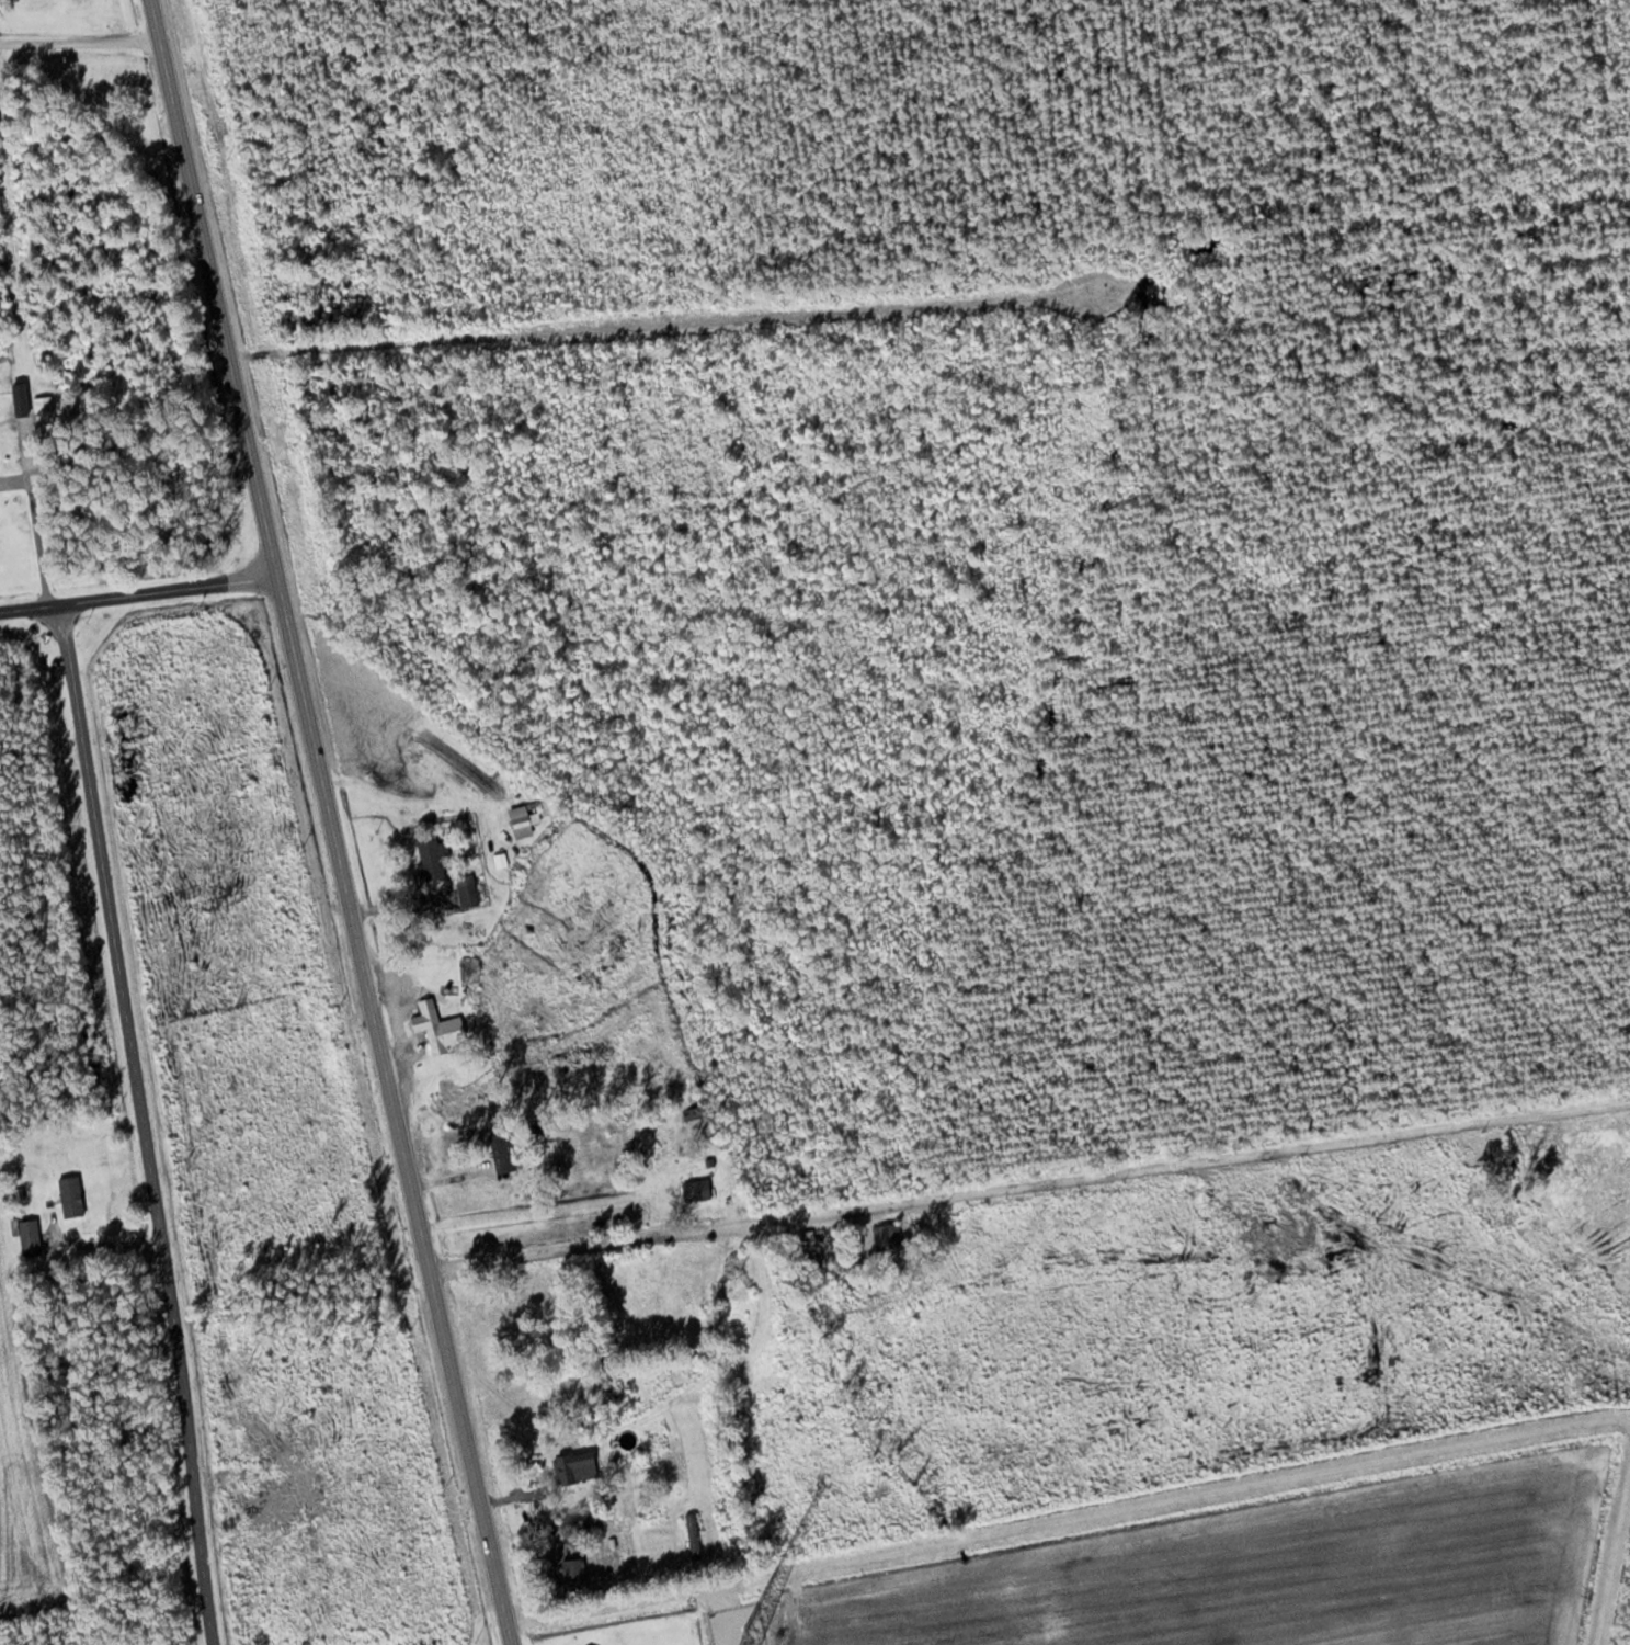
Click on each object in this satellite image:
road: (80, 38)
building: (21, 397)
road: (144, 597)
building: (522, 820)
road: (340, 821)
building: (432, 859)
building: (469, 889)
building: (441, 1028)
road: (148, 1123)
building: (1513, 1167)
road: (981, 1181)
building: (697, 1189)
building: (72, 1195)
building: (888, 1235)
building: (812, 1239)
building: (32, 1243)
building: (578, 1466)
building: (521, 1496)

